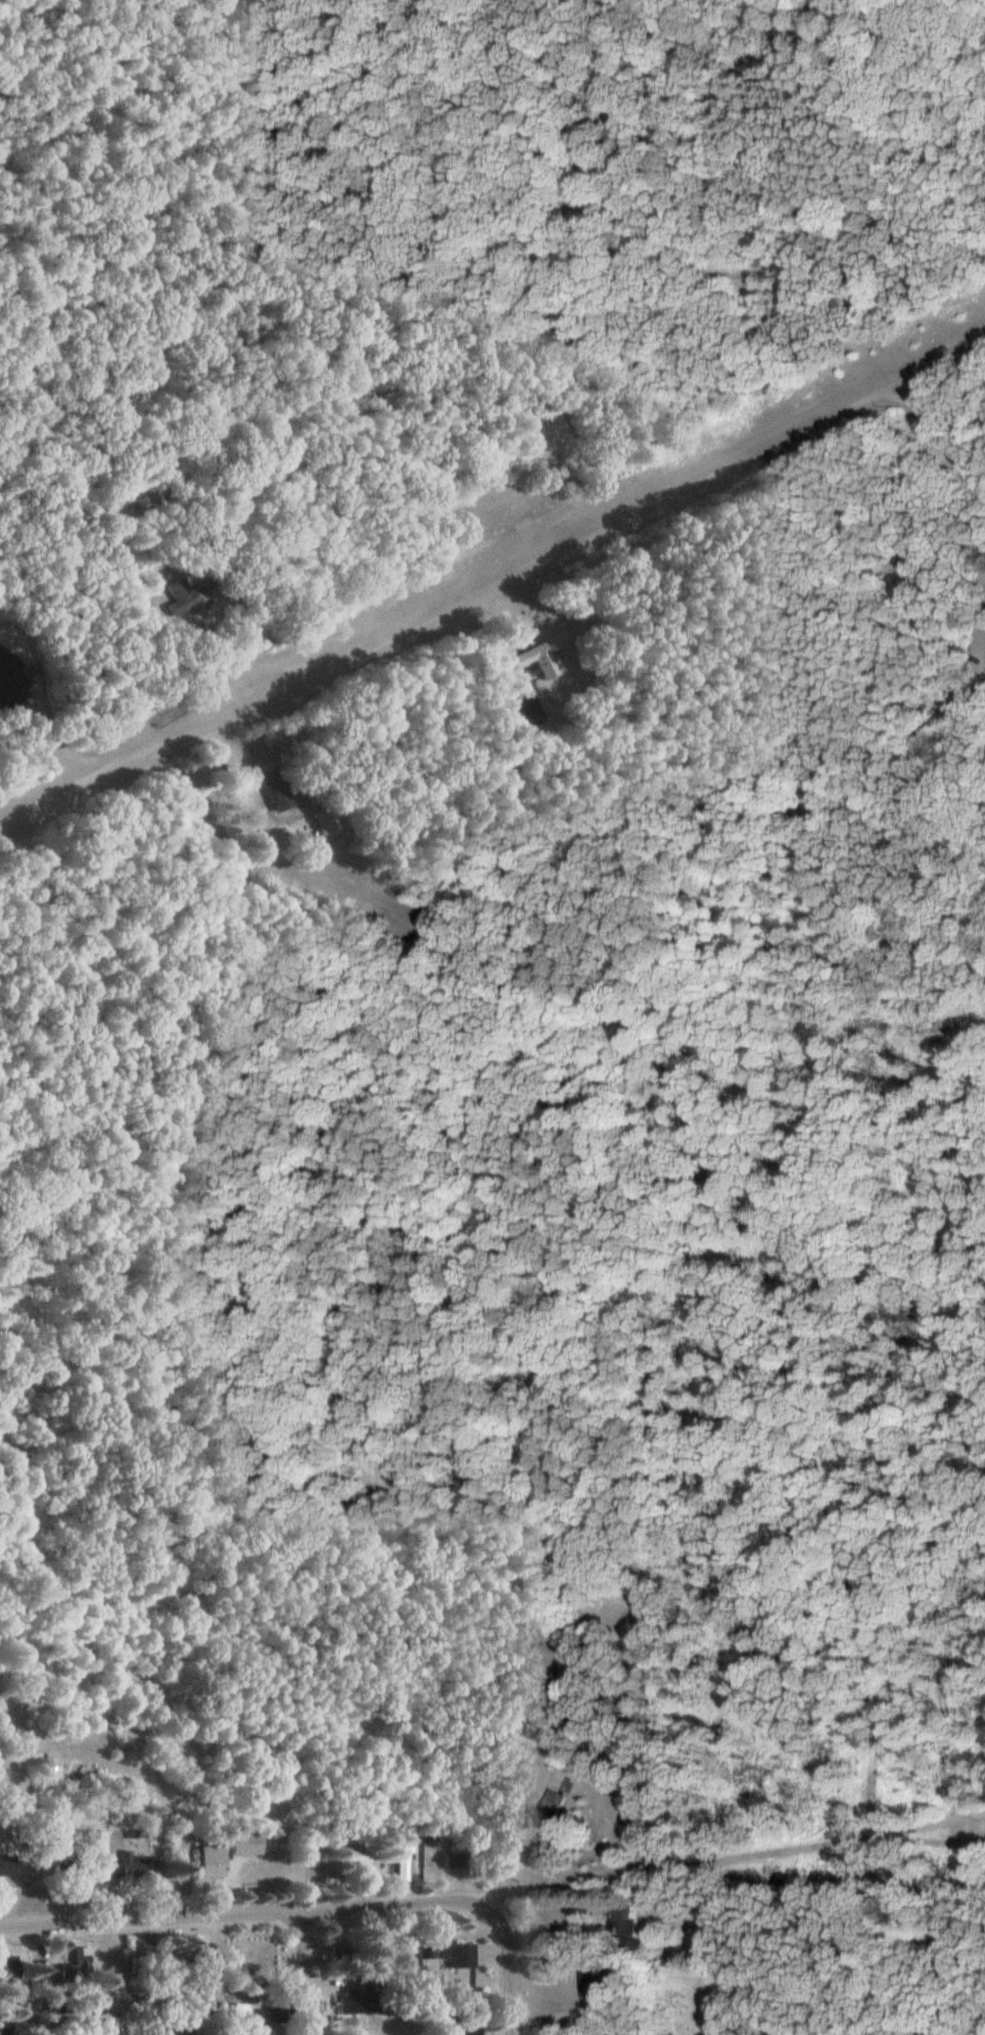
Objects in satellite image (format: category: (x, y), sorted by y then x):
building: (185, 596)
building: (544, 660)
road: (957, 1831)
building: (98, 1844)
road: (734, 1853)
building: (400, 1854)
building: (351, 1858)
building: (131, 1864)
building: (7, 1865)
building: (213, 1868)
road: (244, 1913)
road: (499, 1917)
building: (624, 1919)
building: (425, 1947)
building: (457, 1953)
building: (78, 1967)
road: (300, 1972)
building: (593, 1980)
building: (357, 2004)
building: (273, 2015)
building: (438, 2020)
building: (465, 2029)

